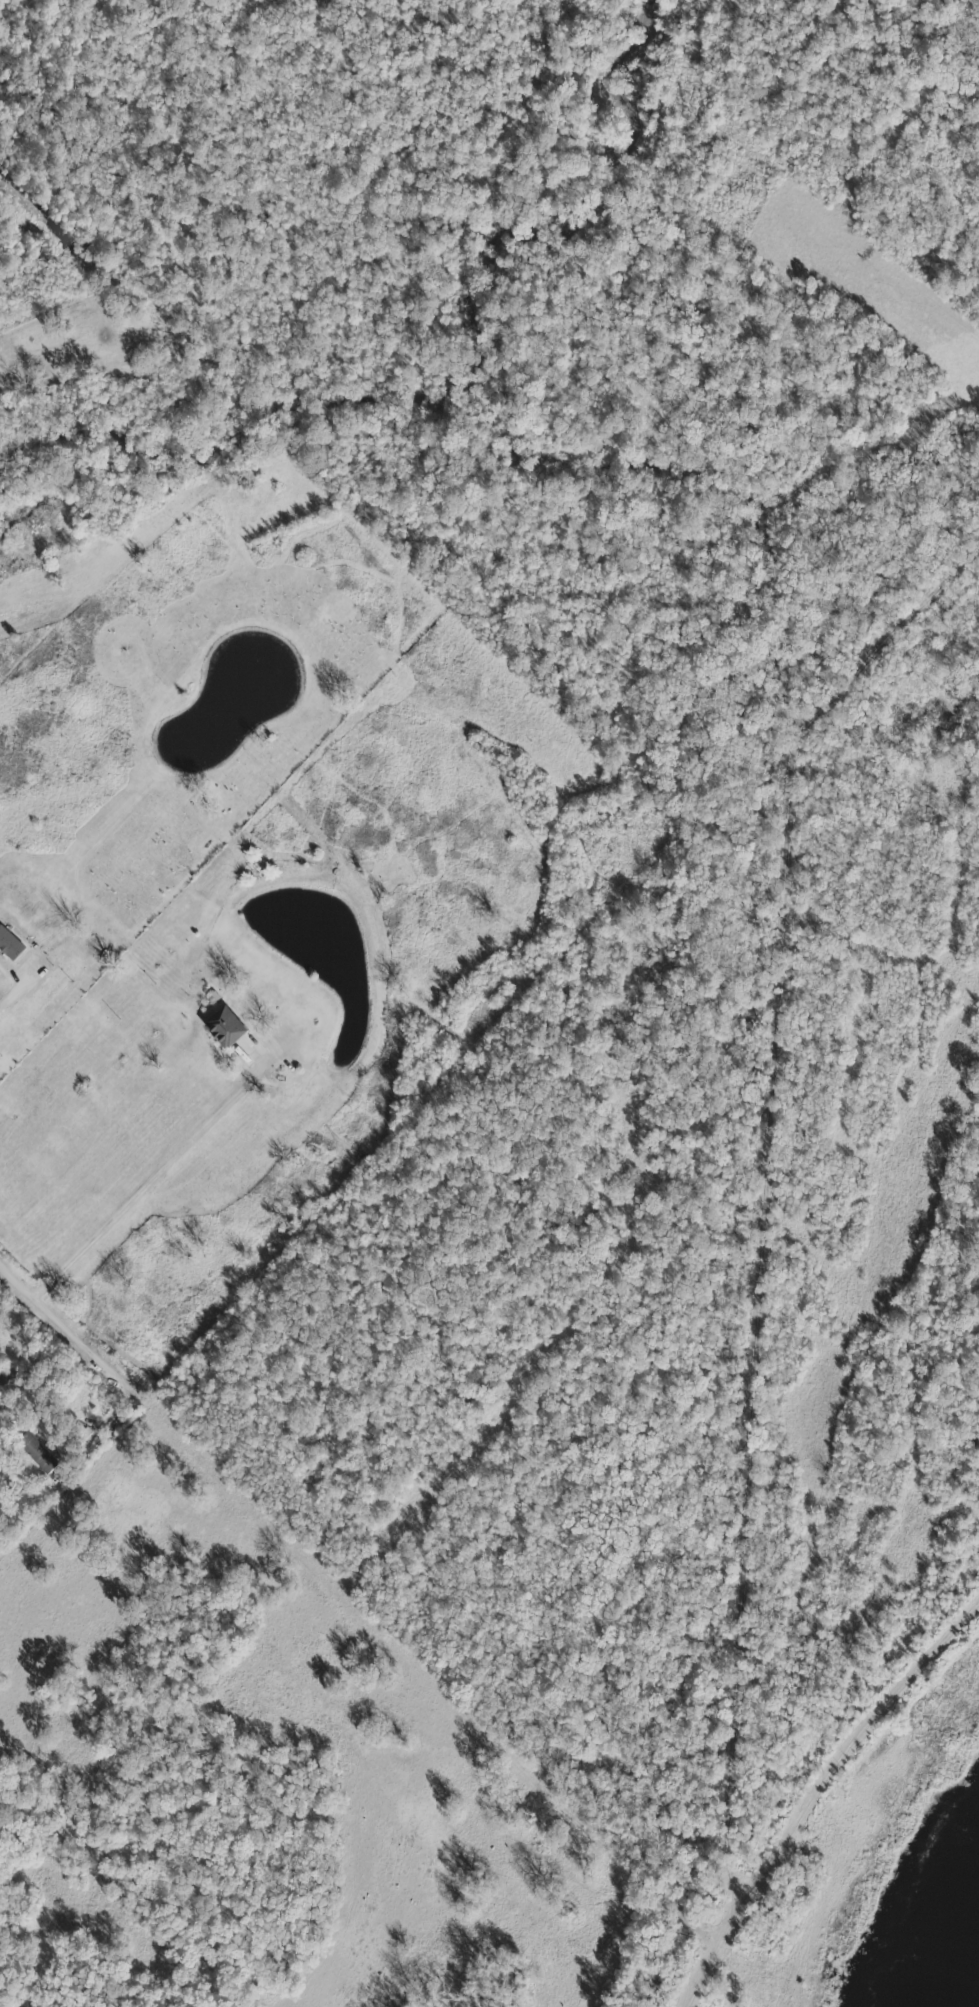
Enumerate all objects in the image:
building: (9, 944)
building: (222, 1026)
road: (147, 1187)
road: (66, 1335)
road: (89, 1433)
building: (35, 1451)

